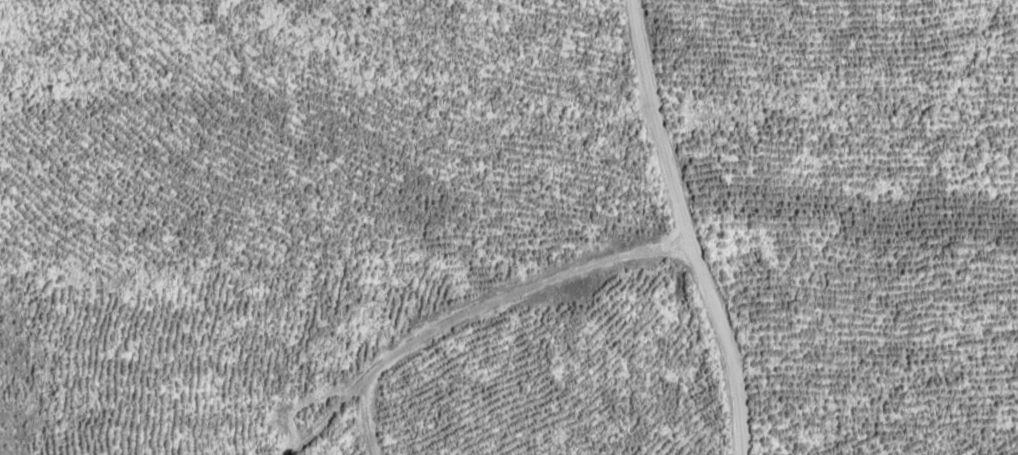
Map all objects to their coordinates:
road: (680, 227)

